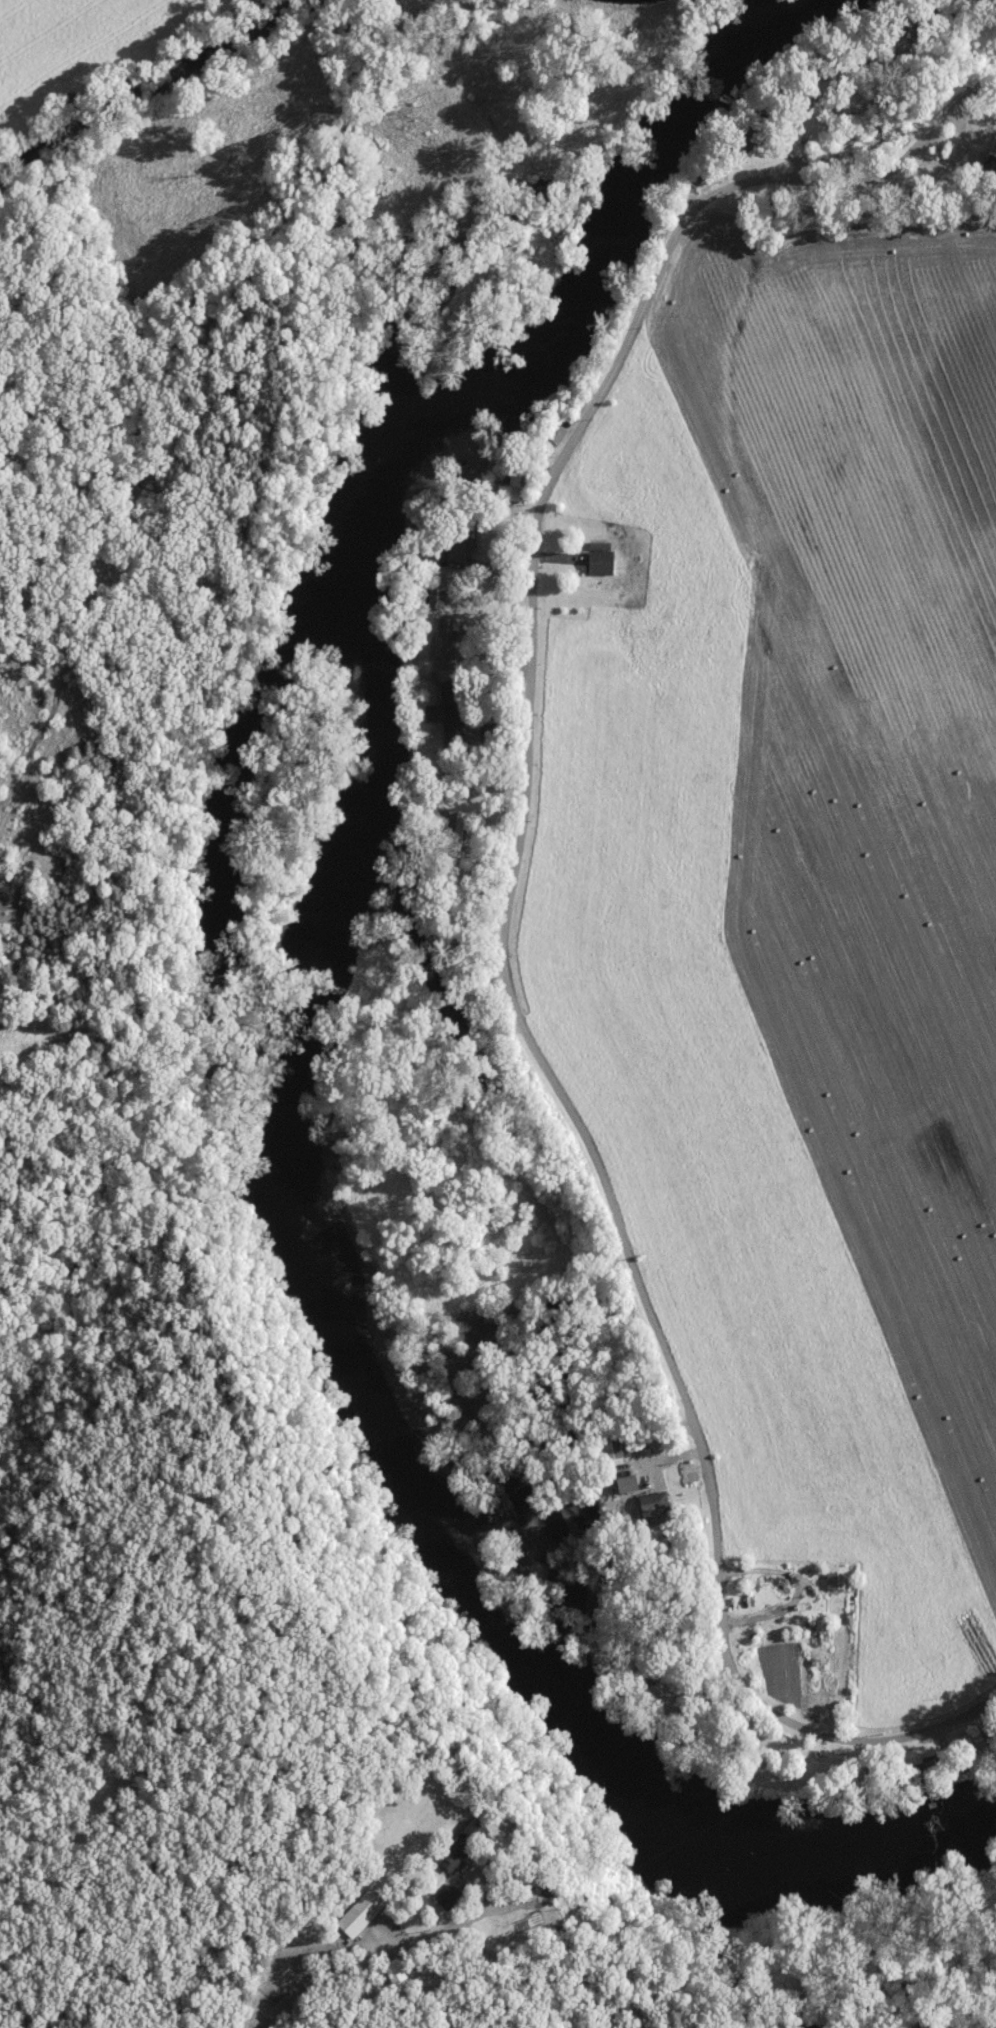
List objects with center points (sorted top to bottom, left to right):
building: (547, 435)
building: (498, 493)
building: (592, 565)
building: (434, 651)
building: (439, 723)
road: (504, 913)
building: (603, 1314)
building: (604, 1453)
building: (909, 1757)
building: (454, 1845)
building: (360, 1914)

